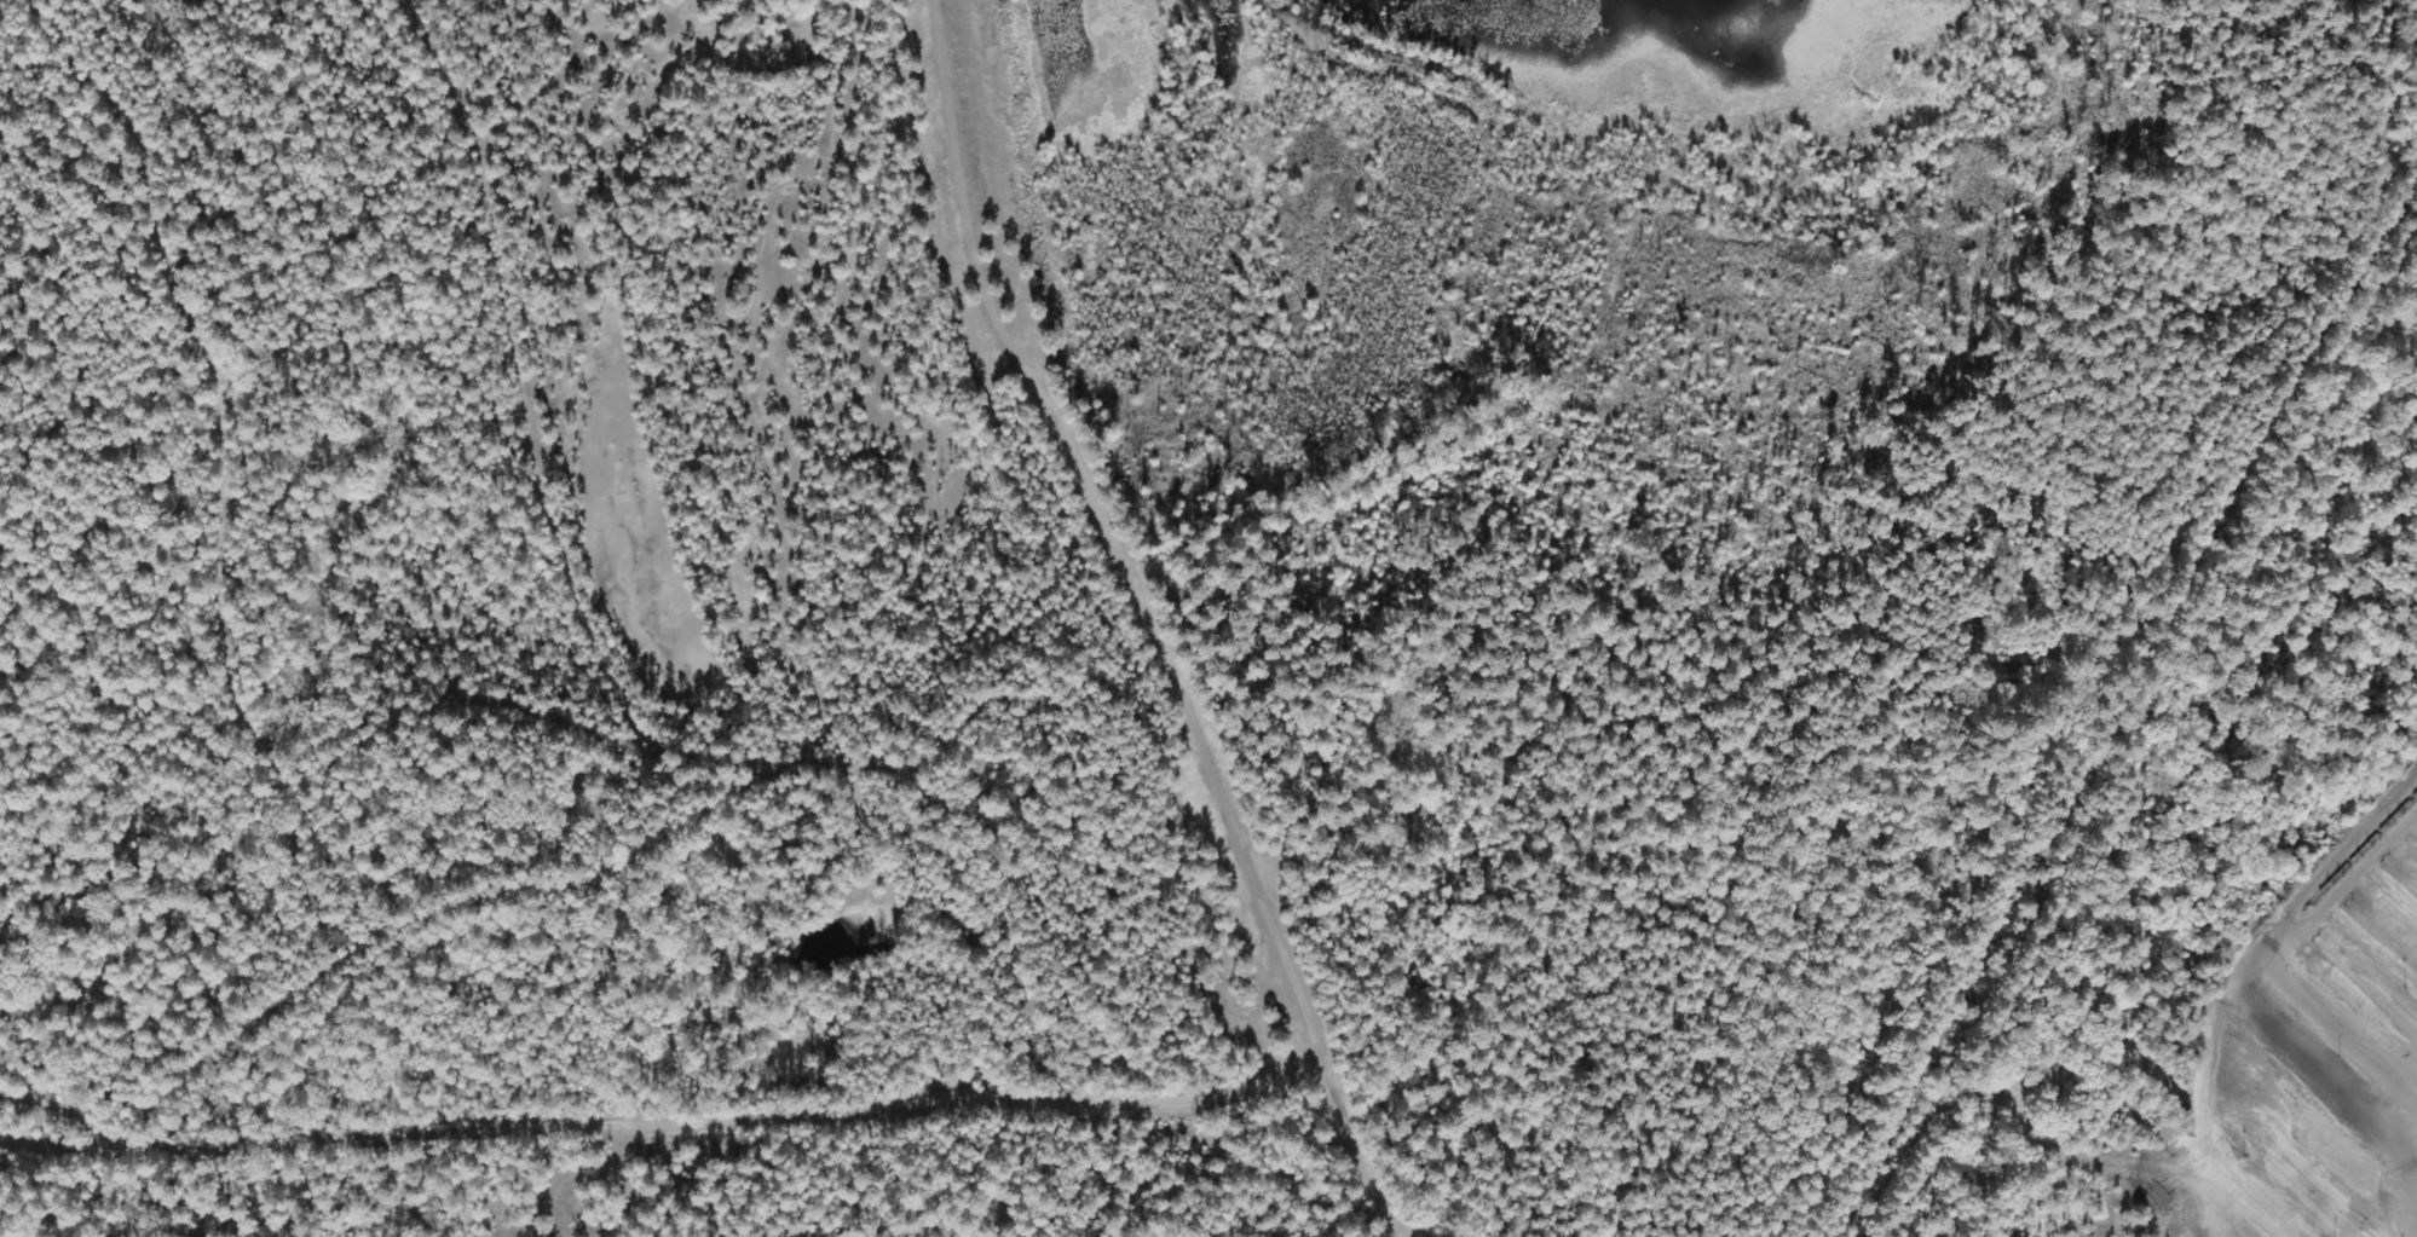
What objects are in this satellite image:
railway: (2363, 849)

